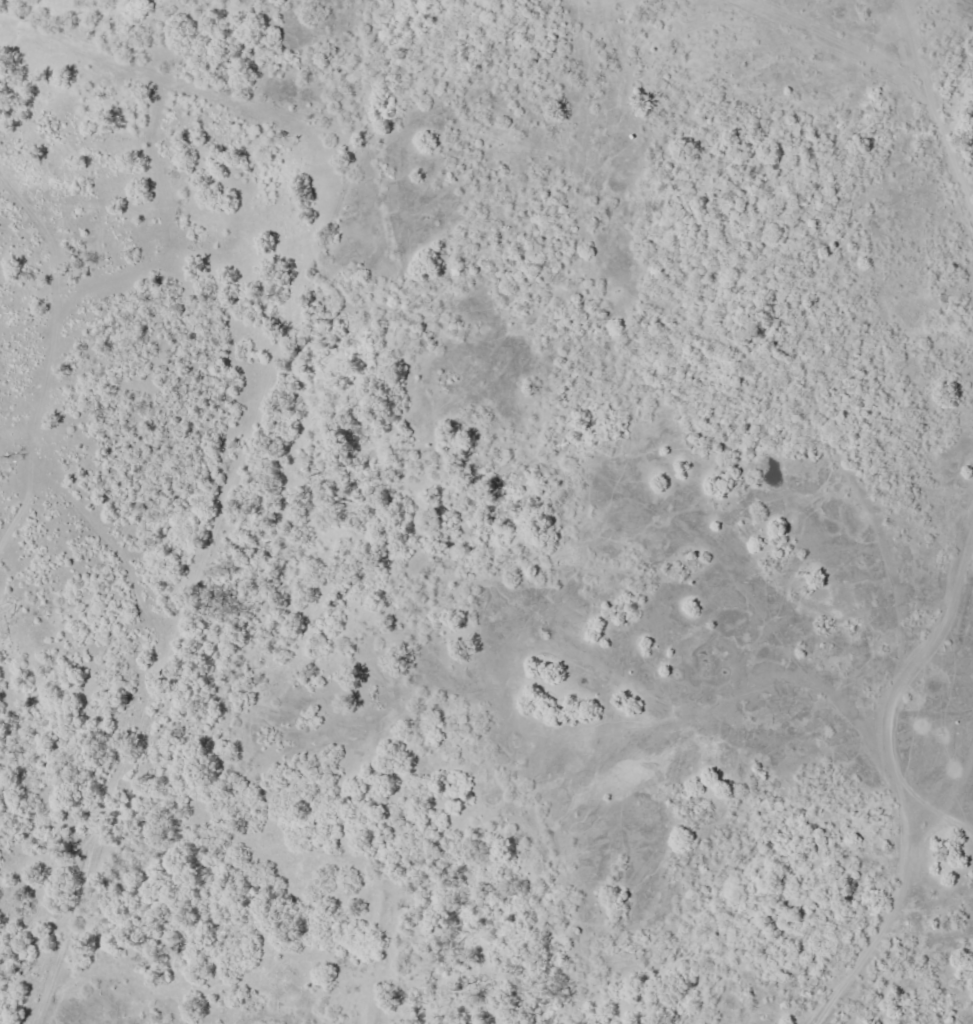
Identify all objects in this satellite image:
road: (862, 536)

